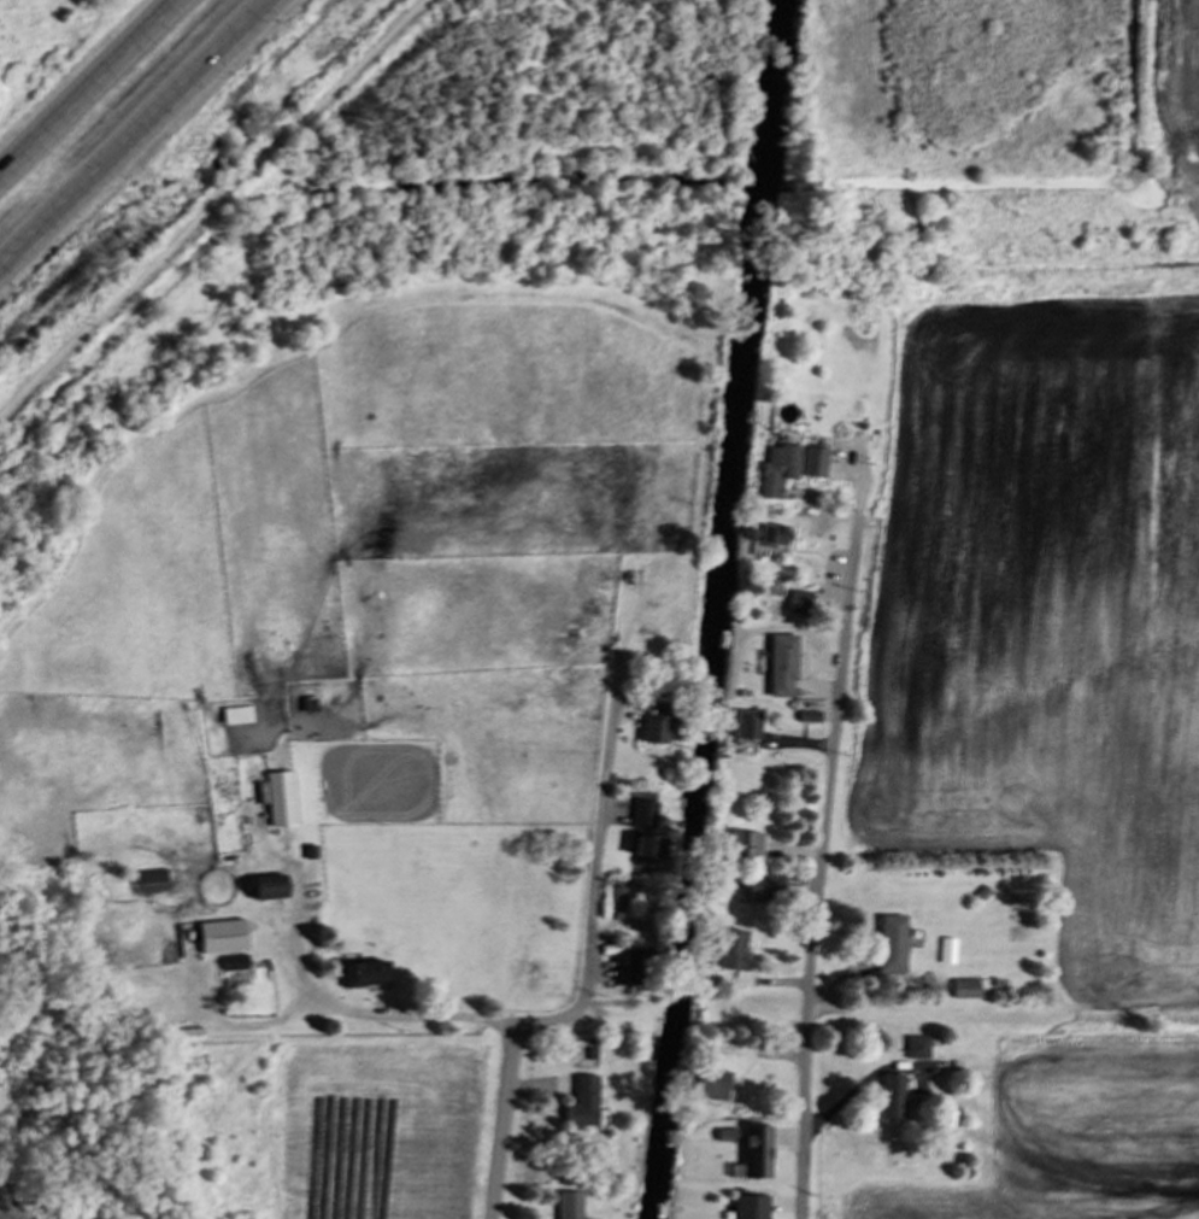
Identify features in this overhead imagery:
road: (374, 48)
road: (90, 90)
road: (172, 96)
road: (37, 233)
road: (161, 256)
building: (792, 468)
building: (776, 537)
building: (801, 604)
building: (784, 667)
building: (239, 717)
building: (750, 726)
building: (663, 727)
road: (850, 746)
building: (282, 801)
building: (646, 810)
building: (747, 848)
building: (650, 850)
road: (589, 884)
building: (765, 889)
building: (274, 892)
building: (225, 938)
building: (894, 945)
building: (735, 954)
building: (369, 975)
road: (345, 1013)
road: (783, 1033)
building: (918, 1049)
road: (568, 1059)
building: (895, 1098)
building: (586, 1104)
road: (504, 1129)
building: (757, 1155)
building: (574, 1206)
building: (753, 1208)

